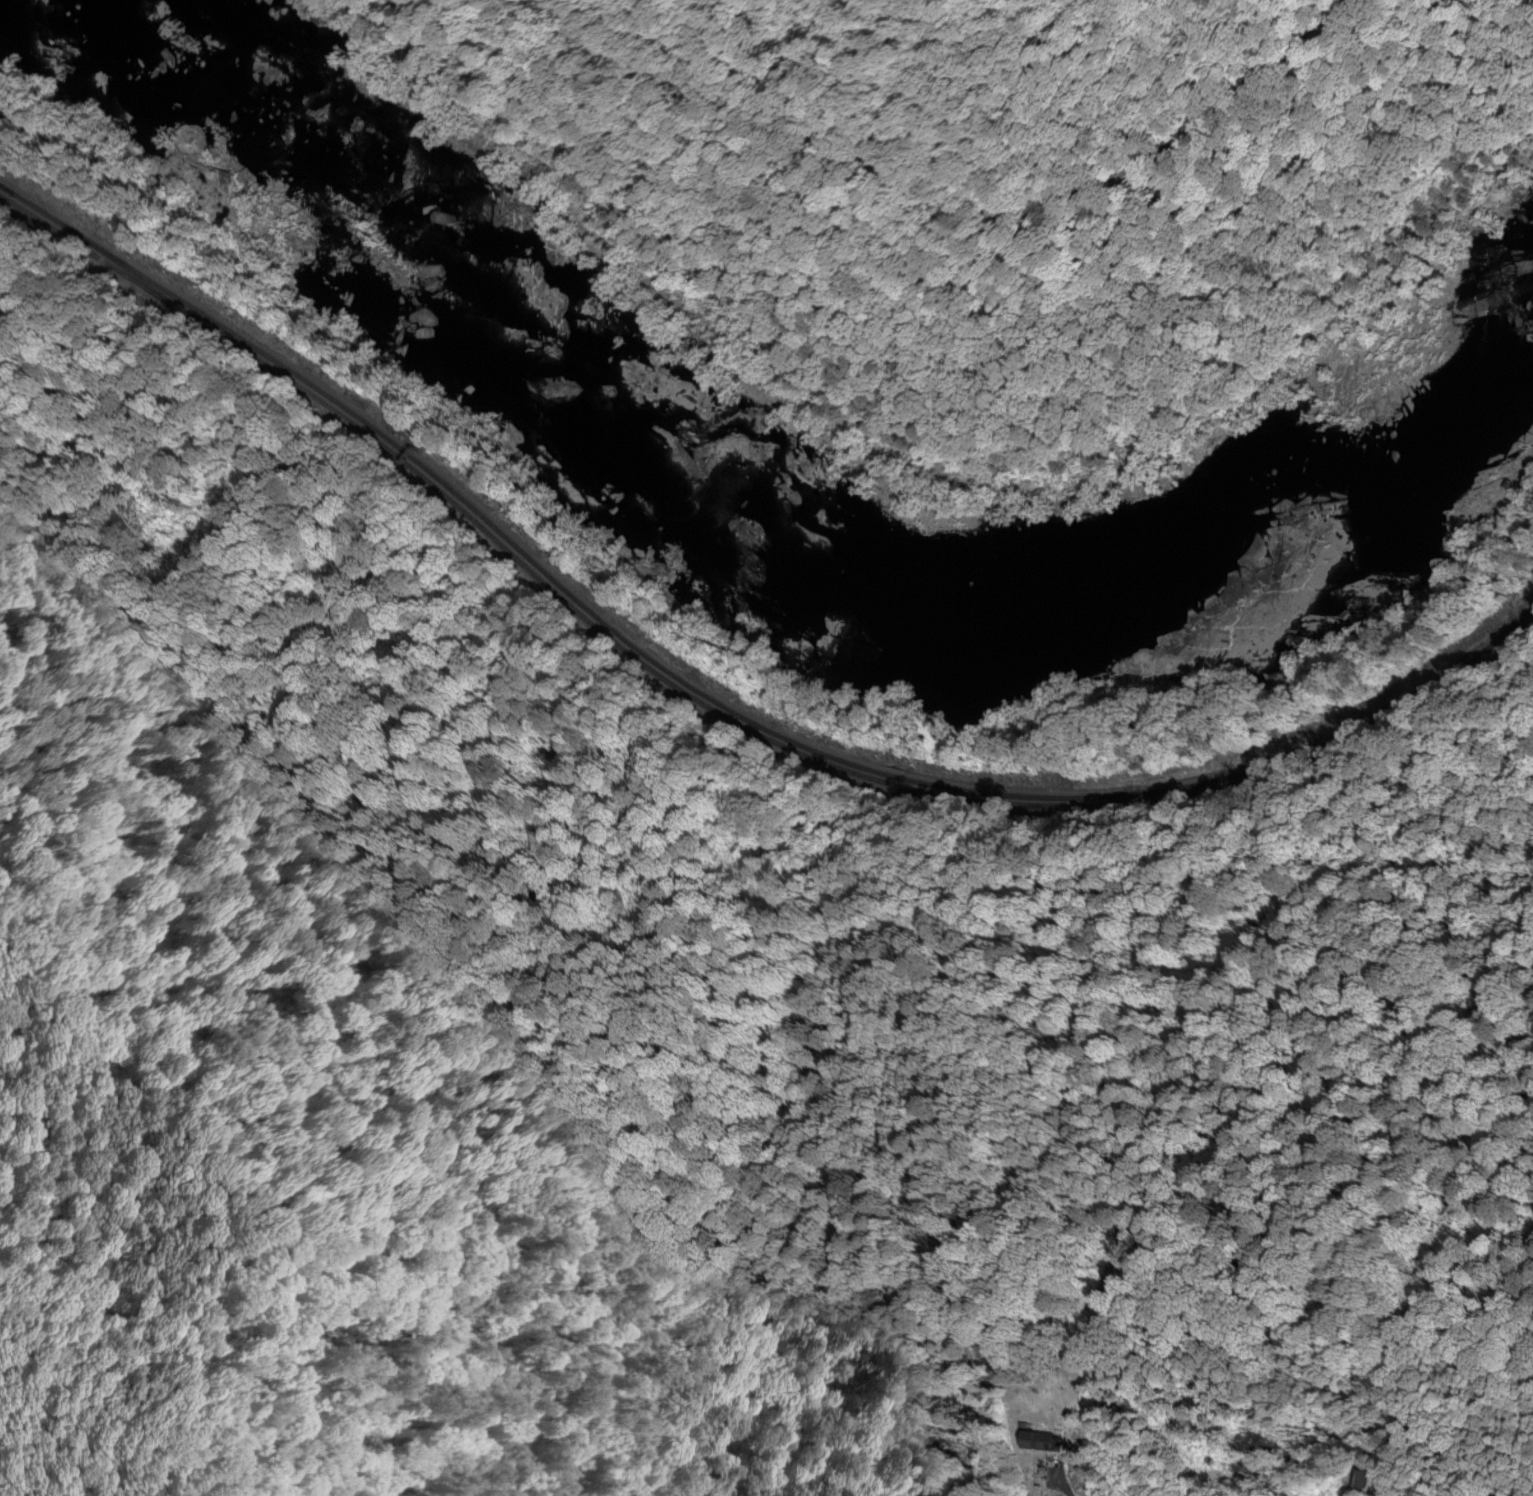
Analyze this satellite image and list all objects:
railway: (14, 193)
road: (939, 197)
railway: (88, 253)
railway: (103, 256)
river: (781, 522)
railway: (727, 711)
railway: (807, 757)
road: (1059, 1483)

